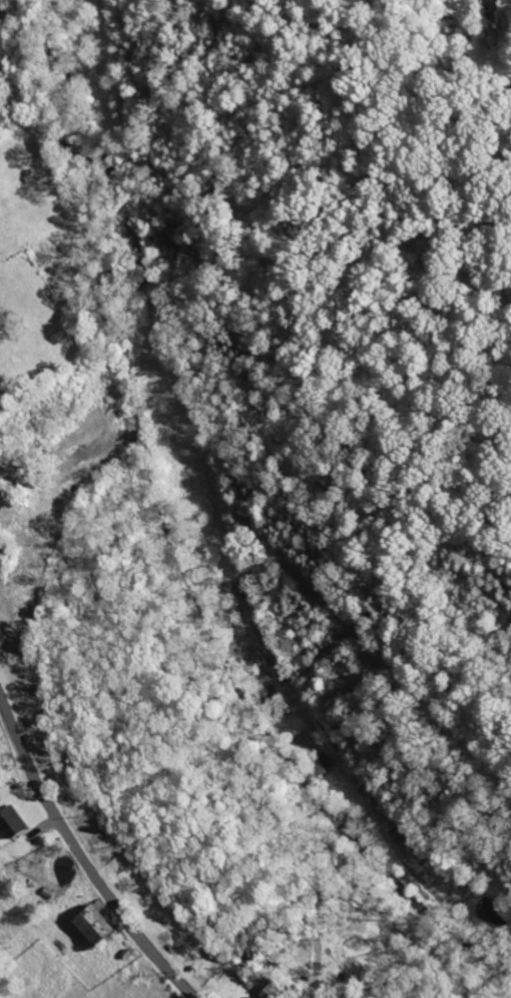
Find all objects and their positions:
building: (11, 822)
road: (82, 856)
building: (92, 924)
building: (271, 992)

